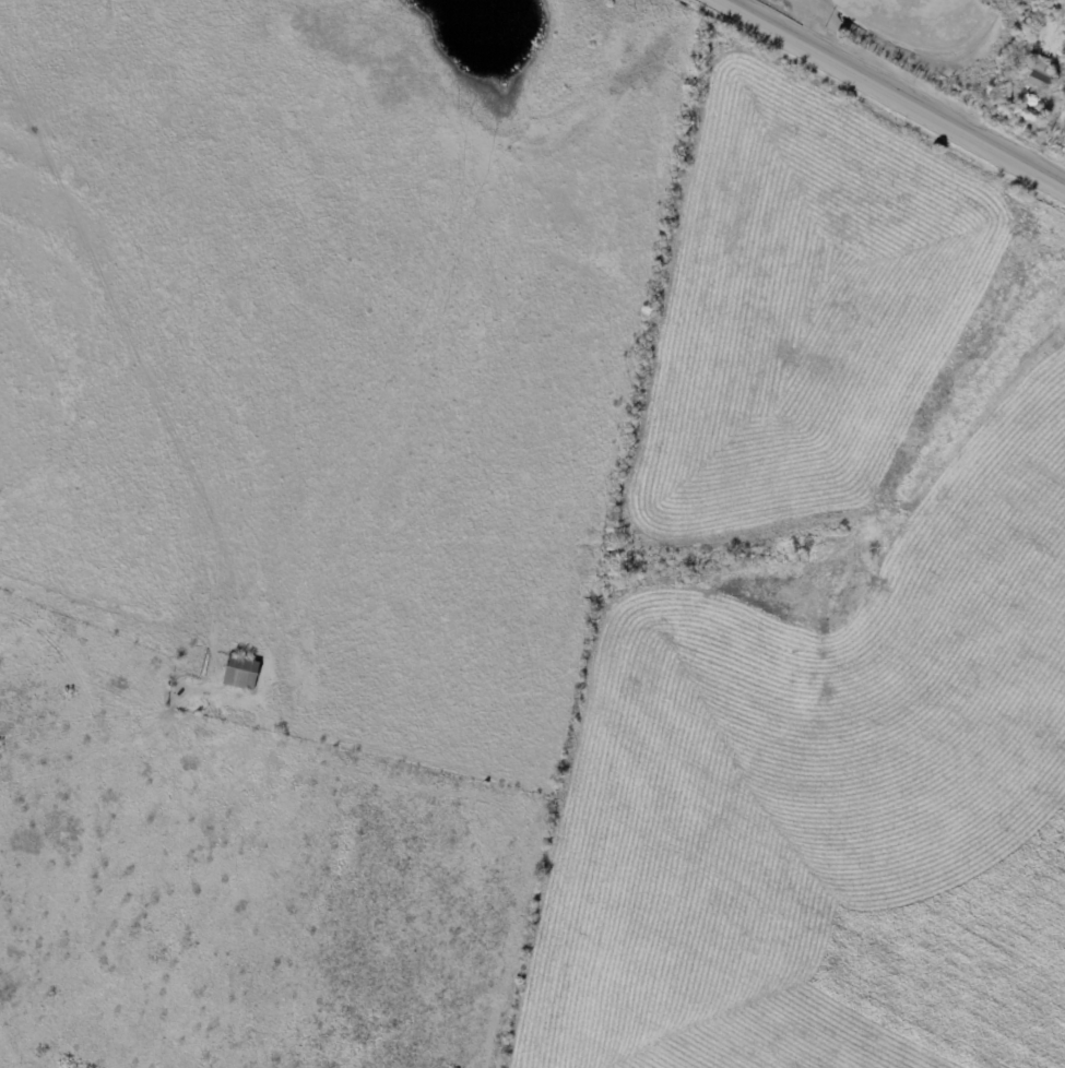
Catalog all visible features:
building: (1039, 76)
road: (895, 94)
road: (133, 354)
building: (241, 674)

